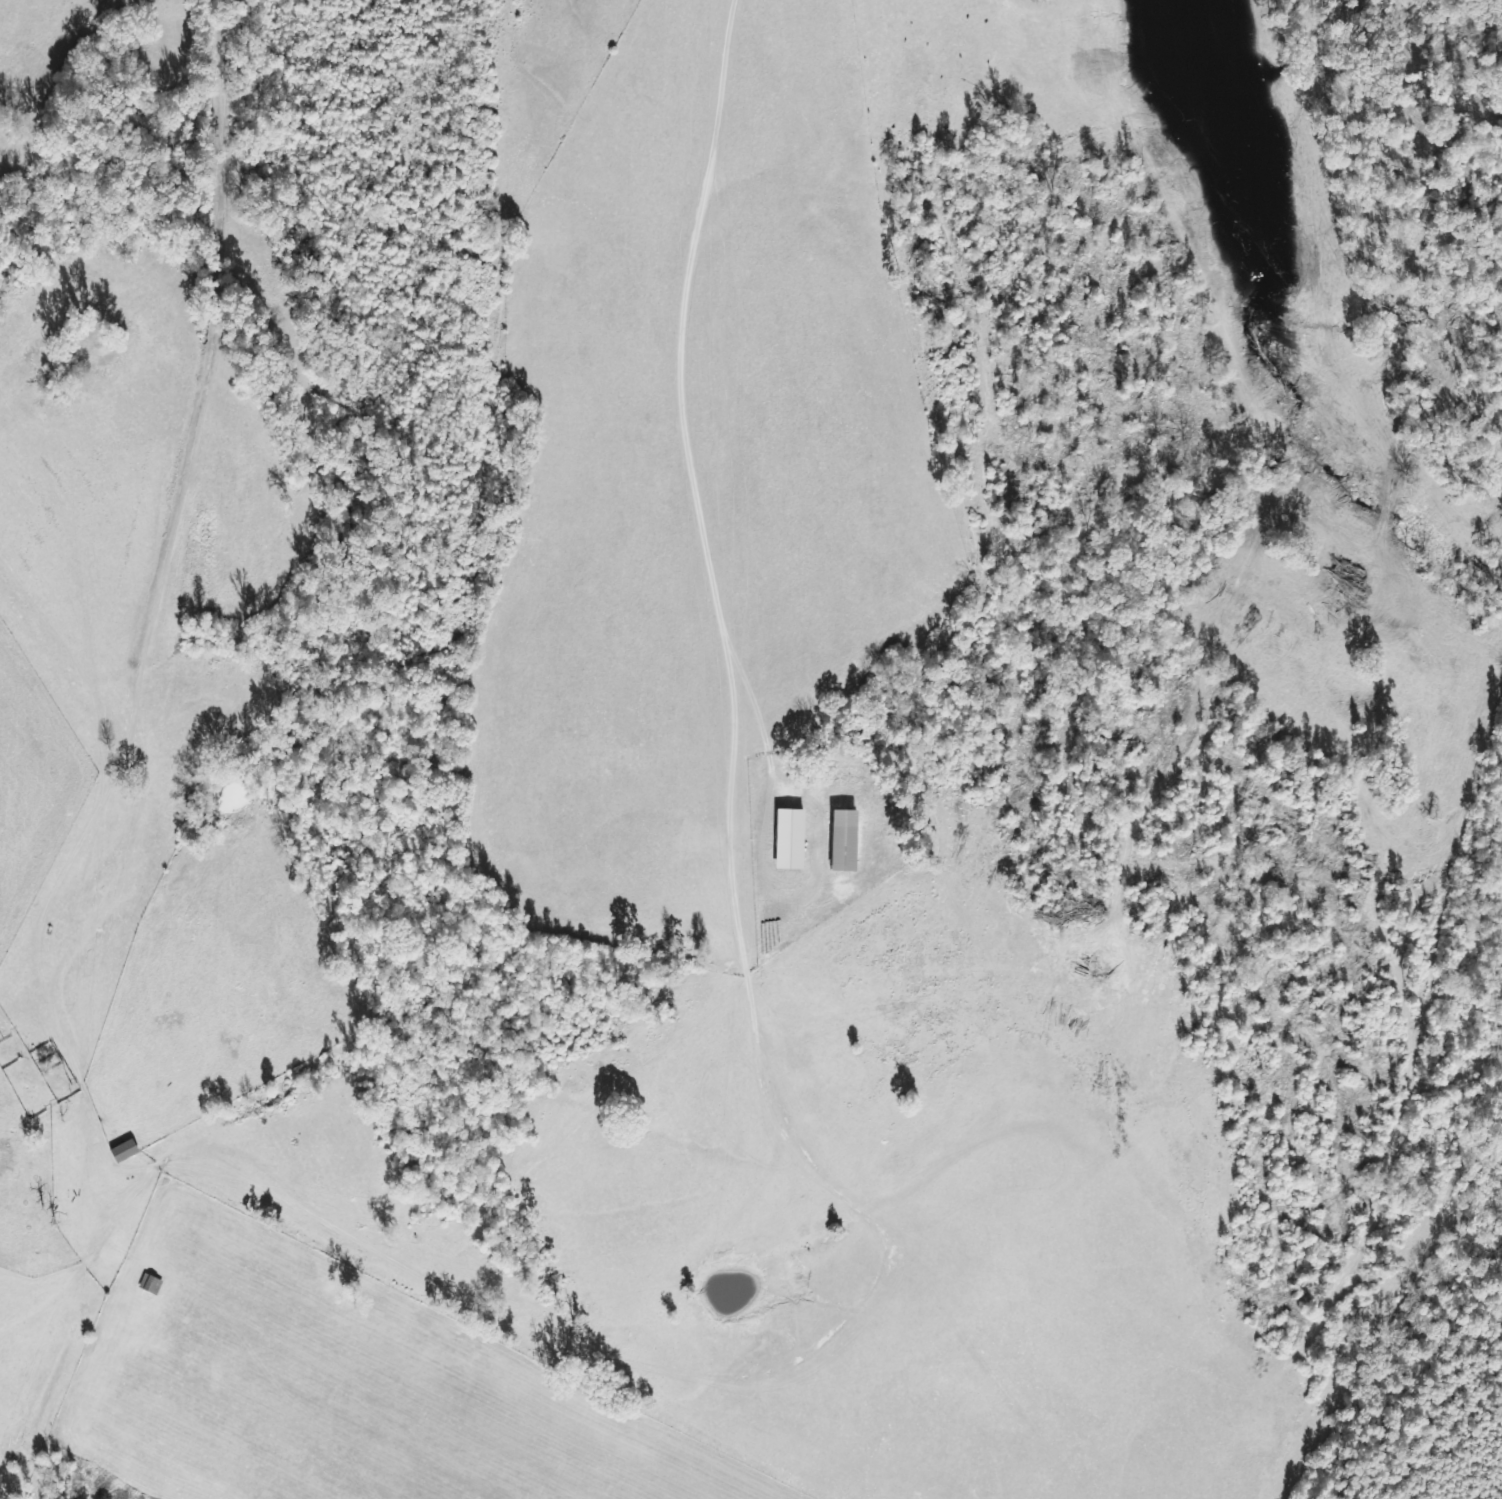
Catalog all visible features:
building: (841, 841)
road: (25, 1034)
building: (121, 1151)

